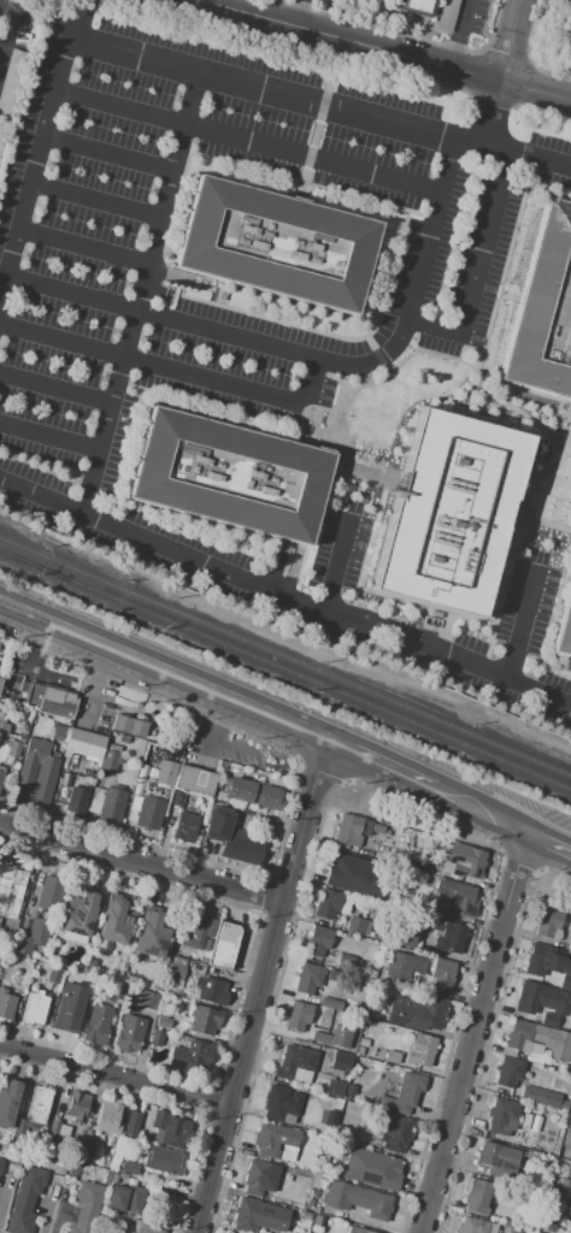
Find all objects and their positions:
building: (324, 0)
building: (416, 6)
road: (80, 10)
road: (293, 12)
building: (446, 16)
road: (7, 34)
road: (457, 34)
road: (513, 40)
parking lot: (10, 48)
road: (383, 49)
road: (0, 55)
road: (258, 92)
road: (491, 114)
road: (248, 140)
road: (107, 155)
road: (512, 155)
road: (36, 158)
road: (95, 199)
road: (83, 246)
building: (276, 246)
road: (477, 270)
road: (71, 293)
road: (140, 295)
building: (543, 308)
road: (371, 361)
road: (172, 371)
road: (55, 387)
road: (516, 409)
road: (489, 418)
road: (49, 436)
building: (229, 476)
road: (529, 486)
building: (452, 514)
road: (159, 545)
railway: (36, 554)
road: (334, 561)
railway: (34, 565)
railway: (34, 566)
road: (520, 629)
building: (564, 629)
road: (446, 656)
building: (0, 673)
road: (165, 673)
railway: (322, 673)
building: (0, 680)
railway: (319, 685)
building: (20, 691)
building: (51, 702)
road: (222, 720)
building: (33, 721)
building: (128, 727)
building: (2, 732)
building: (78, 741)
building: (12, 750)
building: (110, 759)
road: (382, 766)
building: (1, 773)
building: (37, 773)
building: (165, 773)
building: (65, 780)
building: (194, 780)
building: (254, 794)
building: (54, 796)
building: (61, 796)
building: (177, 800)
building: (76, 801)
building: (111, 807)
building: (245, 810)
building: (149, 813)
road: (481, 813)
parking lot: (558, 819)
building: (184, 826)
road: (302, 826)
building: (365, 826)
building: (377, 830)
building: (348, 831)
building: (231, 838)
road: (551, 840)
road: (551, 850)
building: (461, 860)
building: (337, 867)
building: (428, 868)
road: (140, 874)
building: (7, 879)
building: (49, 893)
building: (457, 897)
building: (331, 903)
building: (431, 909)
building: (83, 913)
building: (114, 922)
building: (548, 922)
building: (24, 924)
building: (359, 926)
building: (198, 932)
building: (555, 934)
building: (152, 936)
building: (377, 936)
building: (447, 936)
building: (31, 937)
building: (402, 940)
building: (318, 942)
building: (223, 945)
building: (570, 950)
building: (0, 954)
building: (202, 960)
building: (538, 960)
building: (557, 962)
building: (355, 966)
building: (402, 966)
building: (176, 969)
building: (53, 973)
building: (442, 974)
building: (308, 979)
building: (565, 980)
building: (155, 987)
building: (119, 991)
building: (188, 991)
building: (211, 991)
building: (529, 998)
building: (148, 1001)
building: (6, 1004)
building: (330, 1004)
building: (547, 1004)
building: (34, 1008)
building: (69, 1008)
building: (432, 1010)
building: (371, 1011)
building: (298, 1016)
building: (202, 1020)
building: (549, 1020)
building: (98, 1023)
building: (163, 1023)
building: (129, 1033)
road: (472, 1033)
building: (155, 1038)
building: (320, 1038)
building: (538, 1039)
building: (363, 1043)
building: (535, 1049)
building: (420, 1050)
building: (360, 1051)
building: (508, 1052)
building: (190, 1056)
building: (392, 1057)
building: (534, 1058)
building: (294, 1062)
building: (341, 1062)
road: (236, 1072)
building: (508, 1072)
road: (113, 1074)
building: (301, 1074)
building: (335, 1089)
building: (349, 1090)
building: (405, 1093)
building: (534, 1095)
building: (8, 1103)
building: (279, 1103)
building: (564, 1104)
building: (37, 1105)
building: (76, 1108)
building: (569, 1114)
building: (502, 1116)
building: (108, 1117)
building: (289, 1119)
building: (329, 1121)
building: (525, 1122)
building: (133, 1125)
building: (170, 1131)
building: (64, 1133)
building: (52, 1134)
building: (395, 1134)
building: (361, 1139)
building: (567, 1139)
building: (275, 1141)
building: (87, 1150)
building: (0, 1160)
building: (498, 1160)
building: (163, 1162)
building: (319, 1162)
building: (1, 1164)
building: (129, 1169)
building: (383, 1170)
building: (254, 1178)
building: (559, 1185)
building: (477, 1197)
building: (125, 1199)
building: (358, 1199)
building: (25, 1200)
building: (308, 1203)
building: (87, 1208)
building: (316, 1210)
building: (304, 1216)
building: (249, 1217)
building: (316, 1220)
building: (477, 1226)
building: (299, 1227)
building: (551, 1227)
building: (520, 1229)
building: (147, 1231)
building: (358, 1231)
building: (510, 1232)

